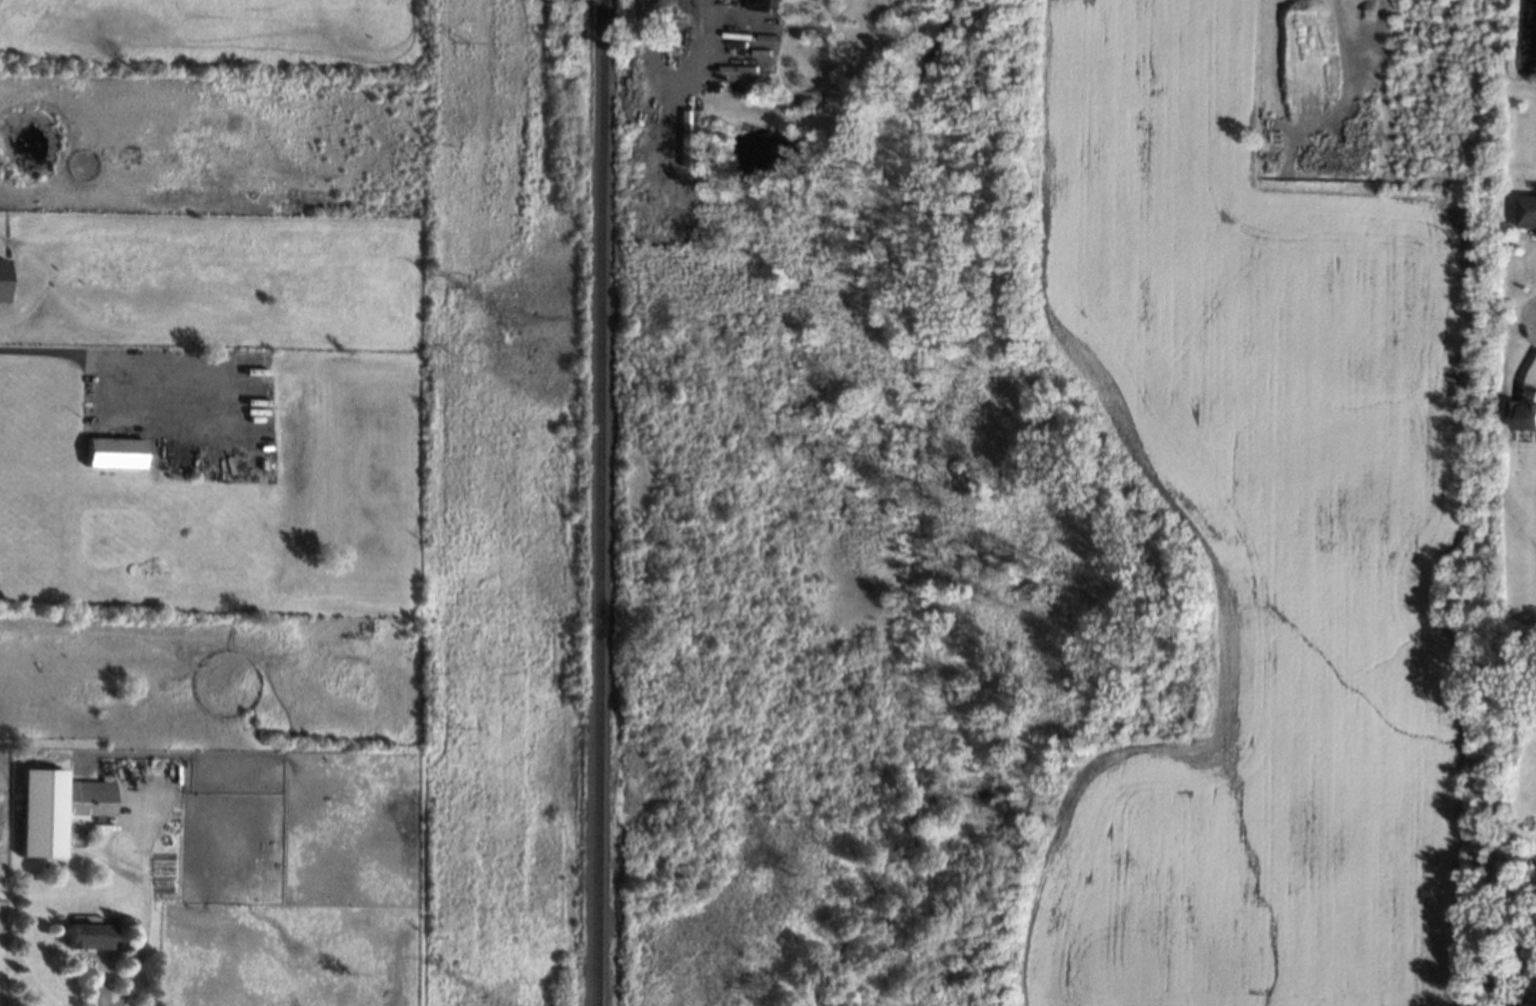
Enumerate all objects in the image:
power tower: (461, 41)
building: (1527, 212)
building: (3, 280)
power tower: (508, 316)
road: (83, 351)
power tower: (461, 360)
building: (1521, 418)
building: (115, 453)
crop: (1268, 486)
railway: (601, 503)
power tower: (459, 729)
building: (58, 810)
crop: (5, 818)
crop: (321, 900)
road: (146, 910)
building: (91, 936)
building: (1526, 1000)

